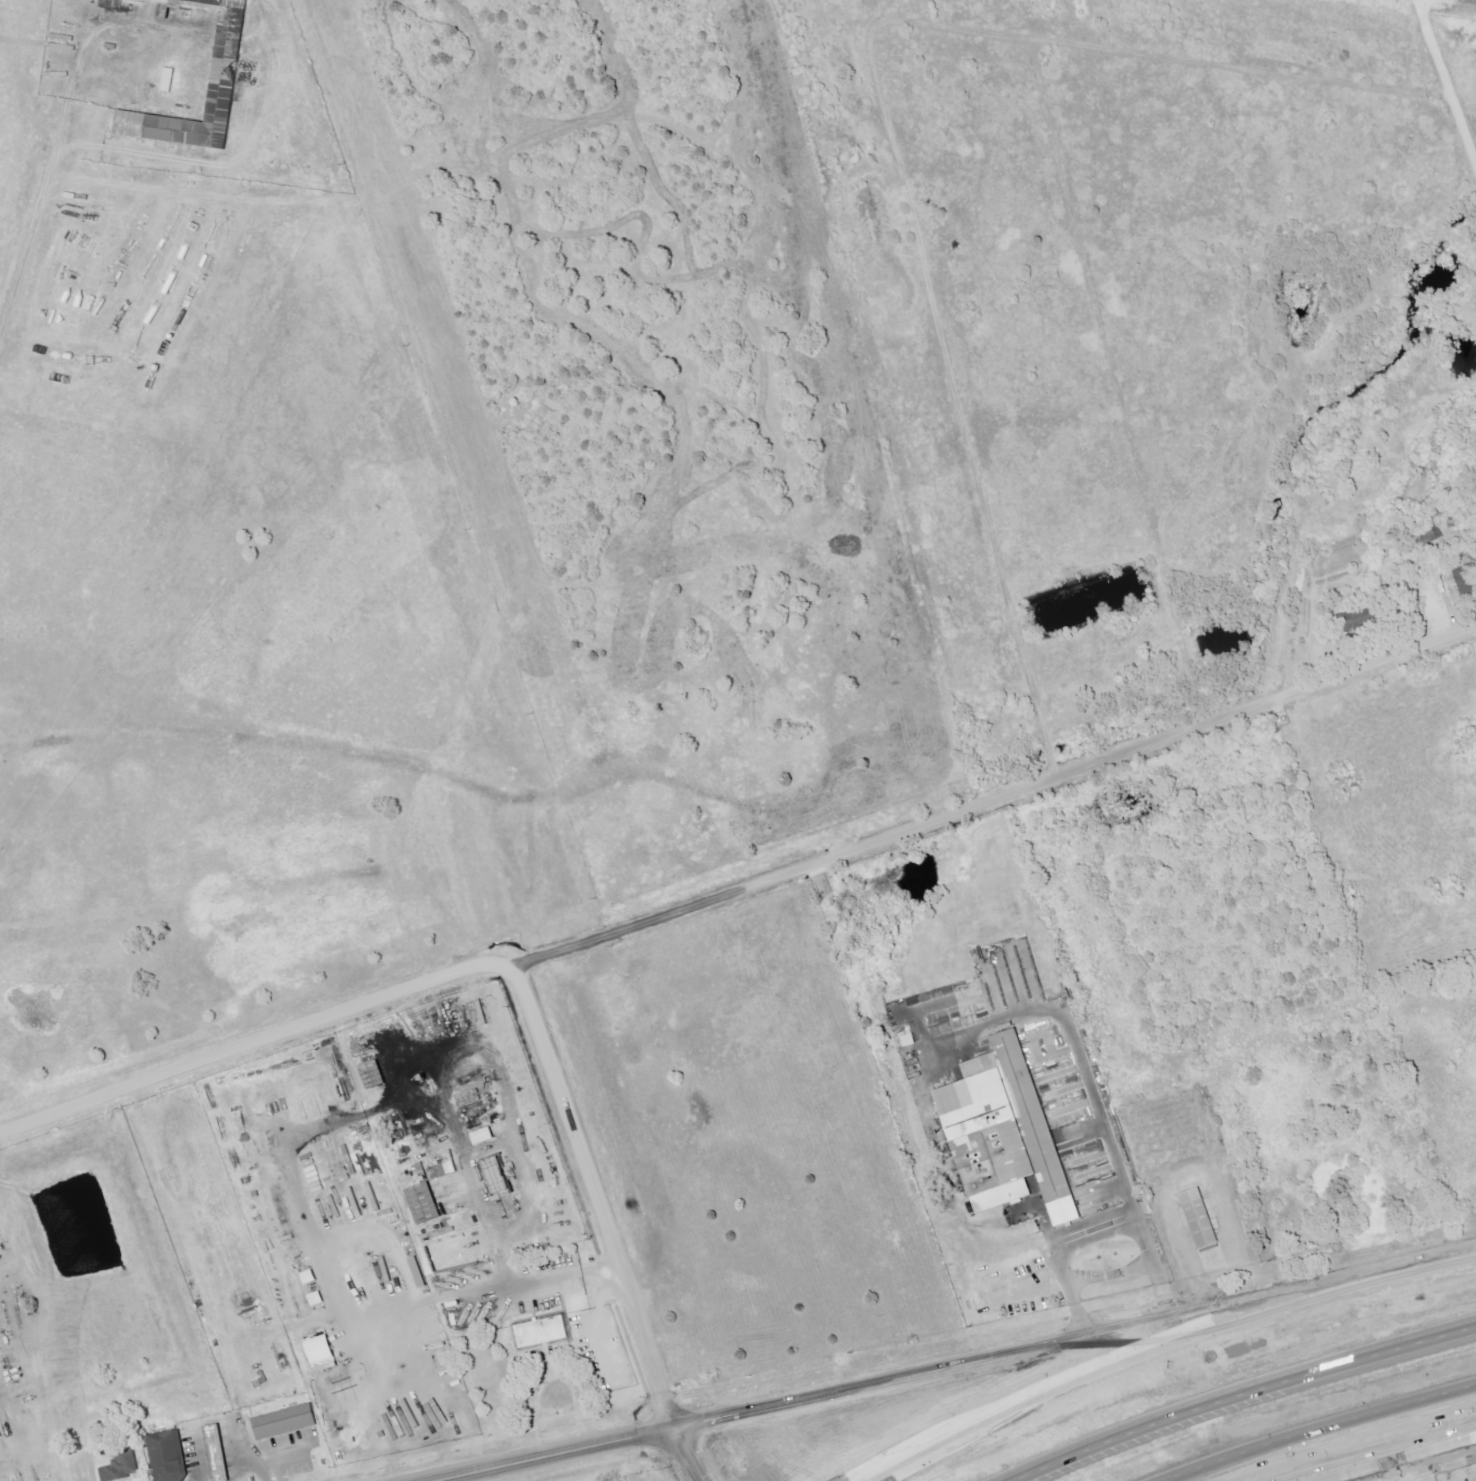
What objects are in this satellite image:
building: (227, 57)
building: (167, 80)
road: (1443, 89)
road: (27, 242)
building: (1461, 579)
road: (740, 886)
building: (909, 1041)
building: (988, 1066)
building: (373, 1074)
road: (1093, 1099)
building: (1042, 1127)
building: (993, 1133)
building: (483, 1135)
building: (449, 1168)
building: (491, 1172)
road: (597, 1191)
building: (1008, 1196)
building: (423, 1203)
building: (1203, 1218)
road: (1119, 1233)
road: (545, 1277)
road: (1327, 1287)
road: (597, 1311)
building: (538, 1336)
road: (928, 1368)
road: (550, 1375)
road: (1240, 1393)
road: (1022, 1403)
building: (280, 1419)
road: (1315, 1428)
road: (1318, 1445)
building: (216, 1451)
road: (556, 1452)
road: (708, 1452)
building: (168, 1457)
road: (199, 1457)
road: (1401, 1459)
road: (274, 1461)
building: (121, 1466)
road: (1393, 1471)

